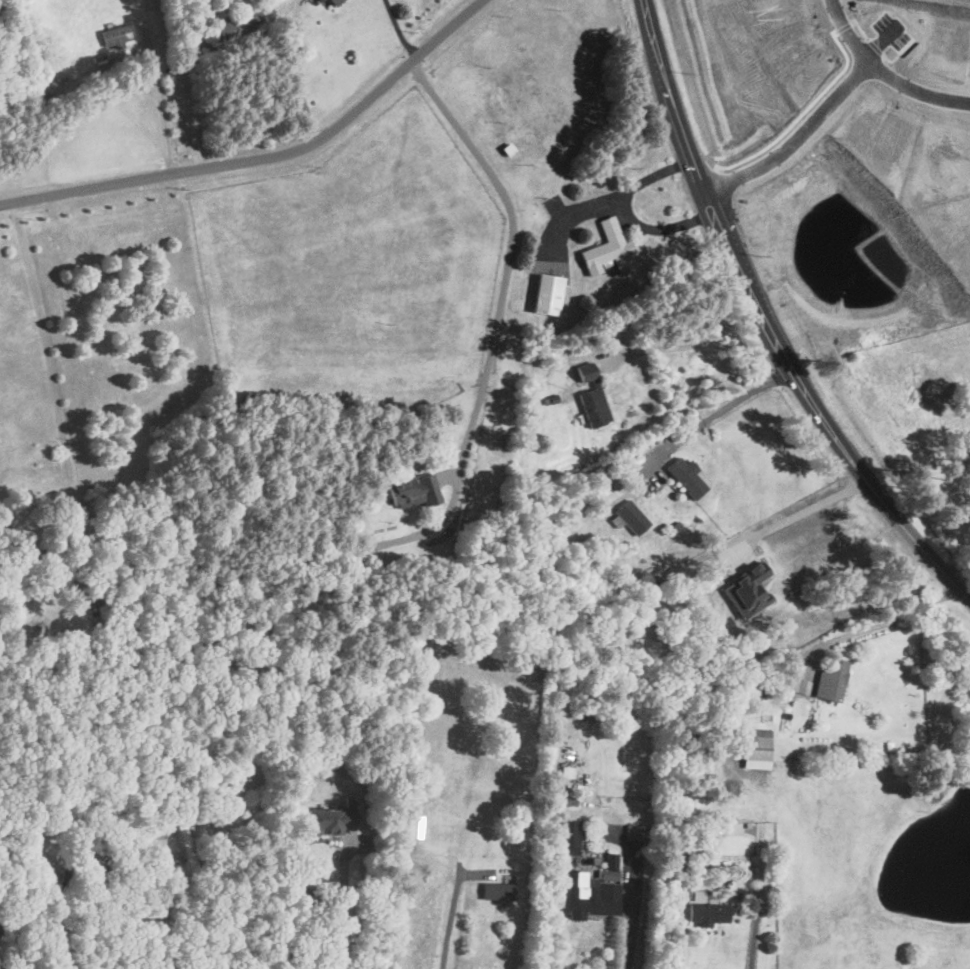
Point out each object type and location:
building: (334, 2)
building: (239, 24)
road: (400, 30)
road: (846, 30)
building: (115, 35)
road: (299, 70)
road: (829, 95)
road: (160, 106)
road: (271, 155)
road: (625, 210)
road: (571, 211)
building: (607, 249)
road: (503, 261)
building: (545, 294)
road: (761, 322)
road: (682, 346)
building: (591, 396)
road: (710, 416)
building: (685, 477)
building: (413, 490)
road: (805, 509)
building: (631, 517)
road: (957, 563)
road: (880, 623)
building: (829, 680)
building: (796, 685)
building: (586, 711)
building: (755, 748)
building: (330, 819)
building: (414, 824)
building: (569, 837)
building: (68, 874)
building: (496, 891)
building: (589, 896)
road: (167, 903)
road: (341, 906)
building: (708, 913)
road: (452, 920)
road: (627, 924)
building: (0, 932)
road: (59, 933)
road: (755, 938)

